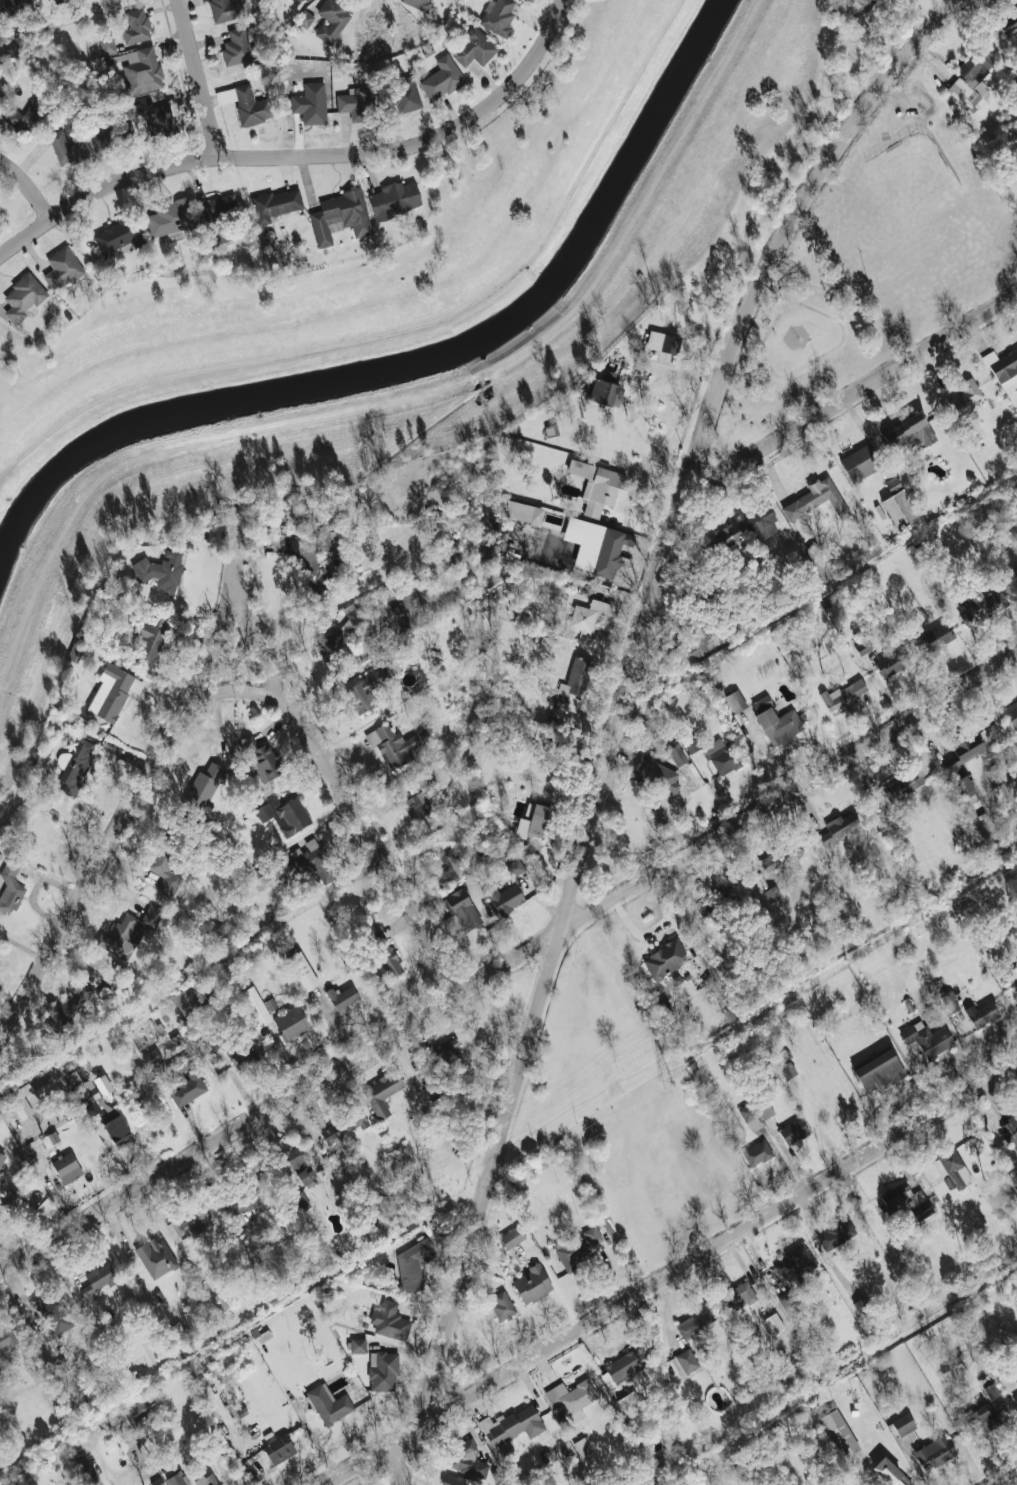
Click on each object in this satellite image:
building: (58, 1)
building: (301, 1)
building: (417, 4)
building: (16, 6)
building: (855, 6)
building: (225, 9)
building: (497, 16)
building: (304, 18)
building: (331, 20)
building: (1008, 23)
building: (136, 27)
building: (107, 44)
building: (238, 48)
building: (474, 48)
building: (142, 70)
road: (202, 76)
building: (442, 78)
building: (971, 81)
building: (406, 95)
building: (310, 103)
building: (357, 103)
building: (246, 104)
building: (155, 116)
building: (23, 120)
building: (103, 140)
building: (66, 148)
road: (300, 151)
road: (33, 178)
building: (395, 199)
building: (275, 204)
building: (215, 206)
building: (170, 217)
building: (340, 217)
building: (119, 235)
park: (874, 265)
building: (62, 268)
building: (23, 297)
road: (757, 323)
building: (663, 342)
road: (810, 361)
river: (417, 363)
building: (1002, 367)
building: (603, 390)
building: (965, 398)
road: (851, 400)
building: (905, 427)
building: (860, 463)
building: (892, 484)
building: (597, 486)
building: (822, 496)
building: (900, 510)
building: (524, 512)
building: (762, 521)
building: (731, 539)
building: (597, 546)
road: (236, 548)
building: (307, 548)
building: (1016, 570)
building: (160, 571)
building: (355, 613)
building: (587, 615)
building: (935, 635)
building: (151, 637)
building: (697, 641)
building: (332, 644)
road: (215, 647)
building: (863, 647)
building: (891, 660)
building: (576, 678)
building: (113, 691)
building: (364, 691)
building: (844, 694)
building: (735, 701)
building: (1012, 712)
road: (624, 715)
building: (776, 722)
building: (391, 745)
building: (691, 745)
building: (676, 755)
building: (962, 755)
building: (722, 756)
building: (266, 762)
building: (73, 768)
building: (904, 787)
building: (205, 788)
building: (672, 788)
road: (342, 790)
building: (965, 790)
building: (1001, 792)
road: (653, 798)
building: (416, 806)
building: (284, 815)
building: (532, 821)
building: (841, 825)
road: (118, 826)
building: (781, 858)
building: (316, 860)
building: (445, 867)
building: (164, 870)
building: (263, 874)
building: (10, 887)
building: (508, 891)
building: (772, 894)
building: (462, 909)
building: (151, 916)
power tower: (918, 928)
building: (120, 934)
building: (664, 959)
road: (509, 960)
building: (389, 961)
building: (302, 971)
building: (1016, 971)
building: (341, 998)
building: (949, 1002)
building: (189, 1003)
building: (255, 1006)
building: (982, 1014)
building: (291, 1023)
building: (925, 1039)
building: (445, 1052)
building: (242, 1054)
building: (150, 1059)
building: (787, 1071)
building: (879, 1071)
building: (184, 1083)
power tower: (665, 1084)
building: (103, 1085)
building: (381, 1092)
building: (20, 1101)
building: (442, 1108)
building: (106, 1109)
building: (765, 1110)
building: (750, 1117)
building: (343, 1125)
building: (1012, 1127)
building: (793, 1131)
building: (50, 1139)
building: (757, 1153)
building: (296, 1156)
building: (2, 1159)
building: (66, 1167)
building: (951, 1170)
building: (307, 1177)
building: (1, 1180)
building: (301, 1201)
building: (904, 1201)
building: (243, 1203)
building: (189, 1225)
building: (835, 1234)
building: (592, 1235)
building: (512, 1237)
building: (570, 1251)
building: (156, 1257)
building: (794, 1262)
building: (411, 1265)
road: (663, 1274)
building: (97, 1280)
building: (532, 1284)
building: (739, 1295)
building: (788, 1302)
building: (501, 1305)
building: (863, 1307)
building: (54, 1314)
building: (389, 1321)
building: (773, 1323)
building: (6, 1334)
power tower: (265, 1335)
building: (357, 1345)
building: (685, 1362)
building: (621, 1368)
building: (383, 1370)
building: (1016, 1381)
building: (992, 1391)
building: (571, 1398)
building: (1015, 1398)
building: (328, 1404)
building: (137, 1408)
building: (632, 1409)
building: (982, 1419)
building: (903, 1424)
building: (512, 1425)
building: (840, 1433)
building: (582, 1447)
building: (278, 1449)
building: (934, 1452)
building: (467, 1458)
building: (890, 1473)
road: (1005, 1478)
building: (175, 1479)
building: (206, 1480)
building: (452, 1482)

